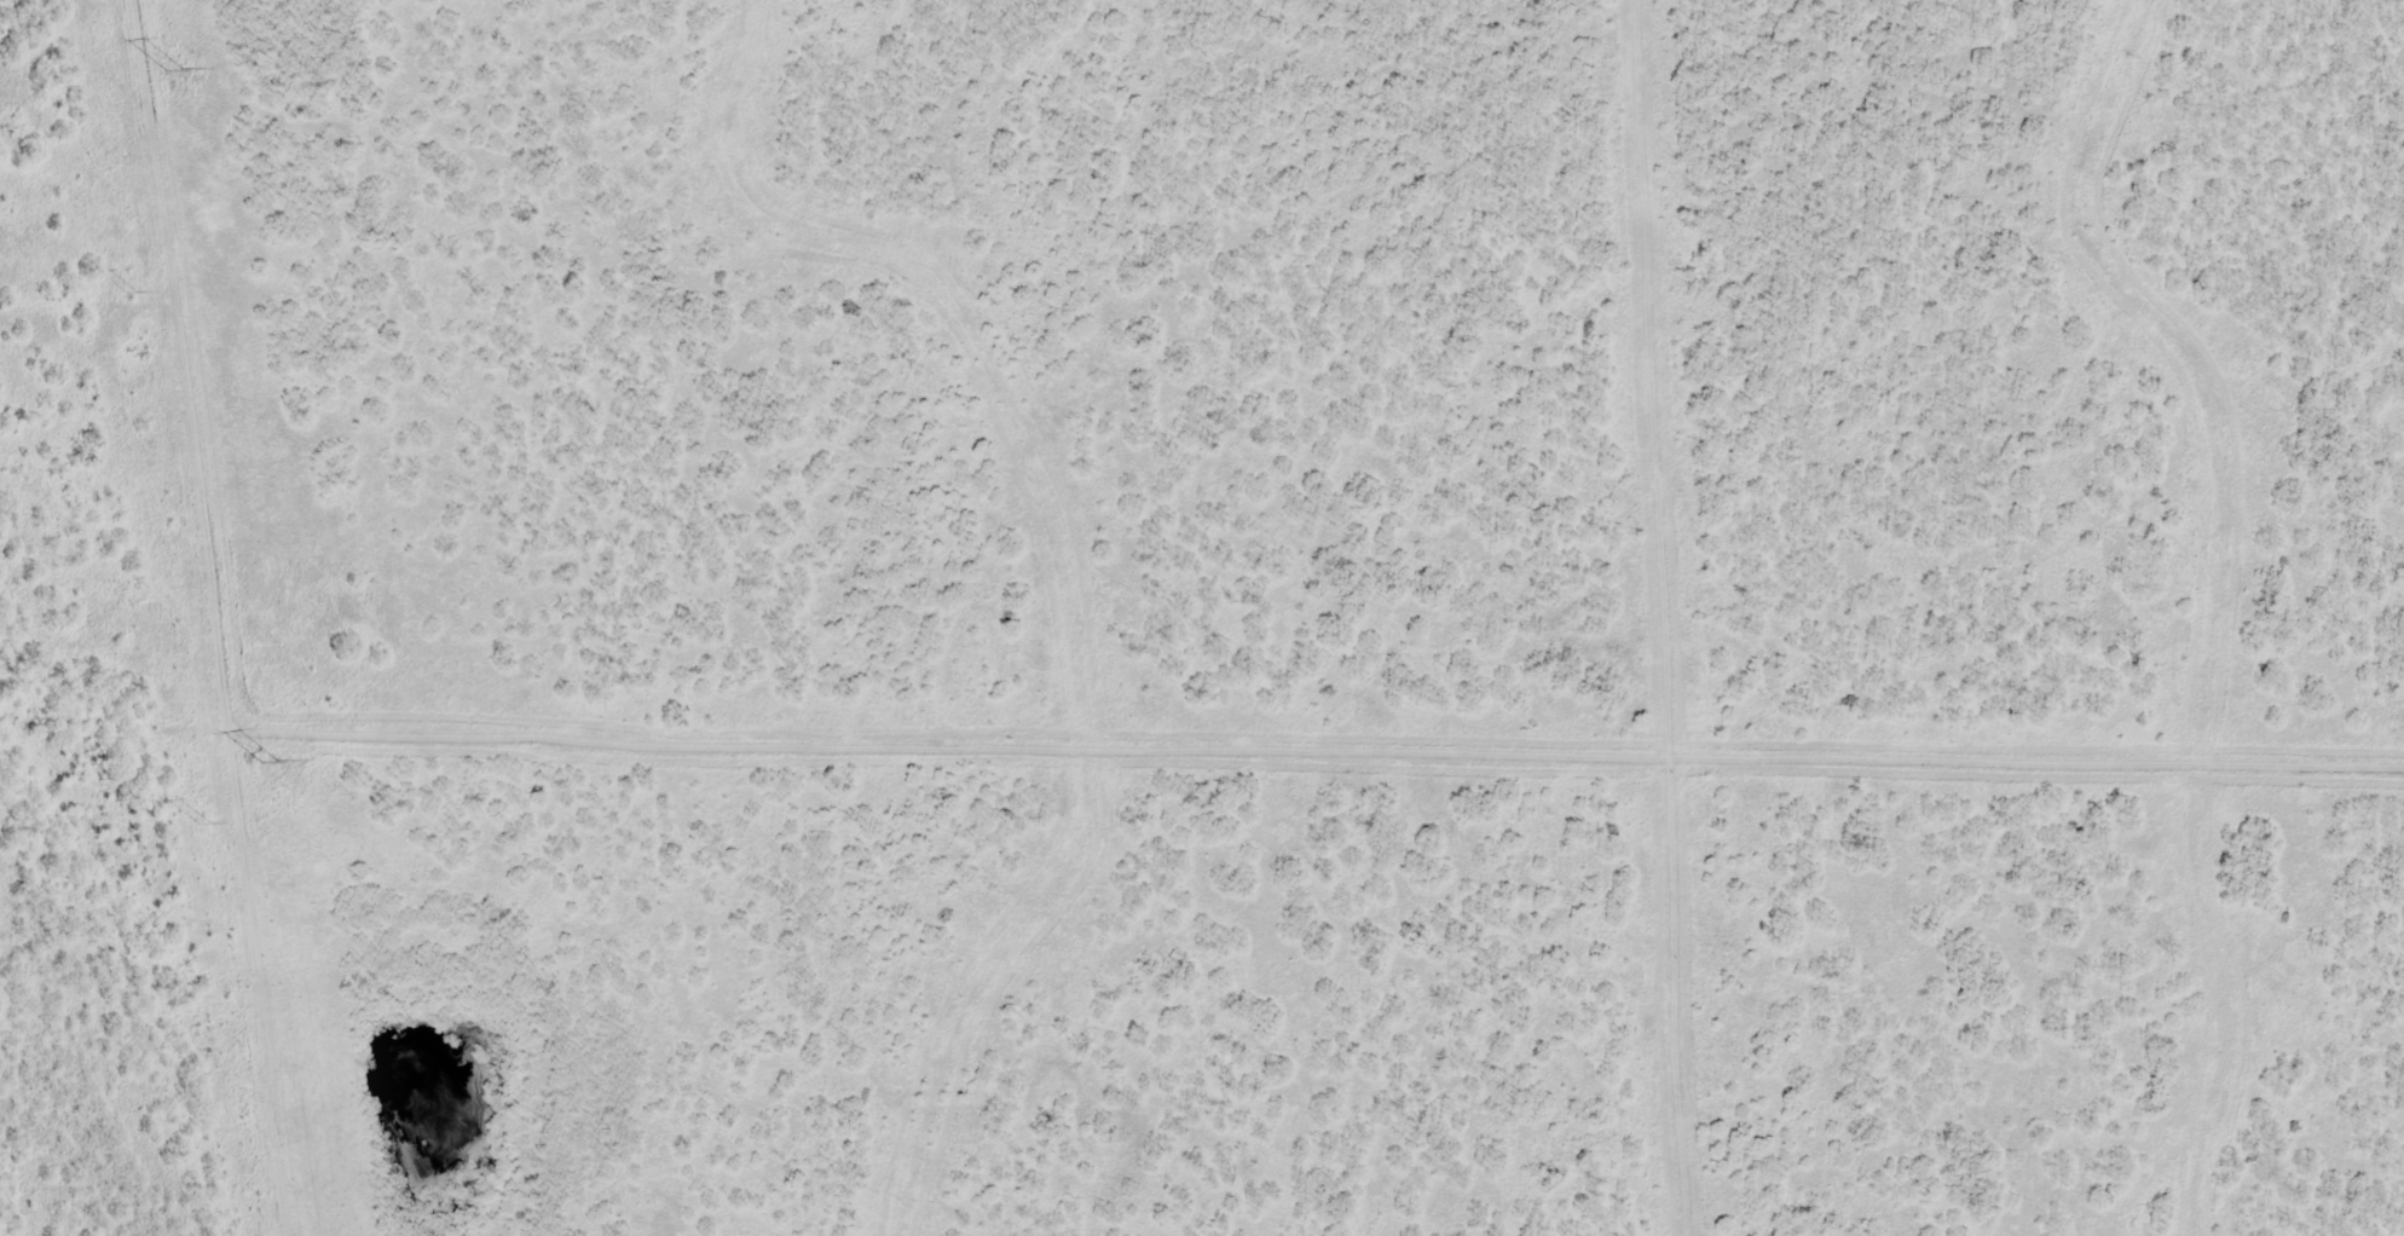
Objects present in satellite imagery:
power tower: (172, 69)
power tower: (129, 293)
road: (1608, 618)
power tower: (266, 762)
power tower: (202, 822)

